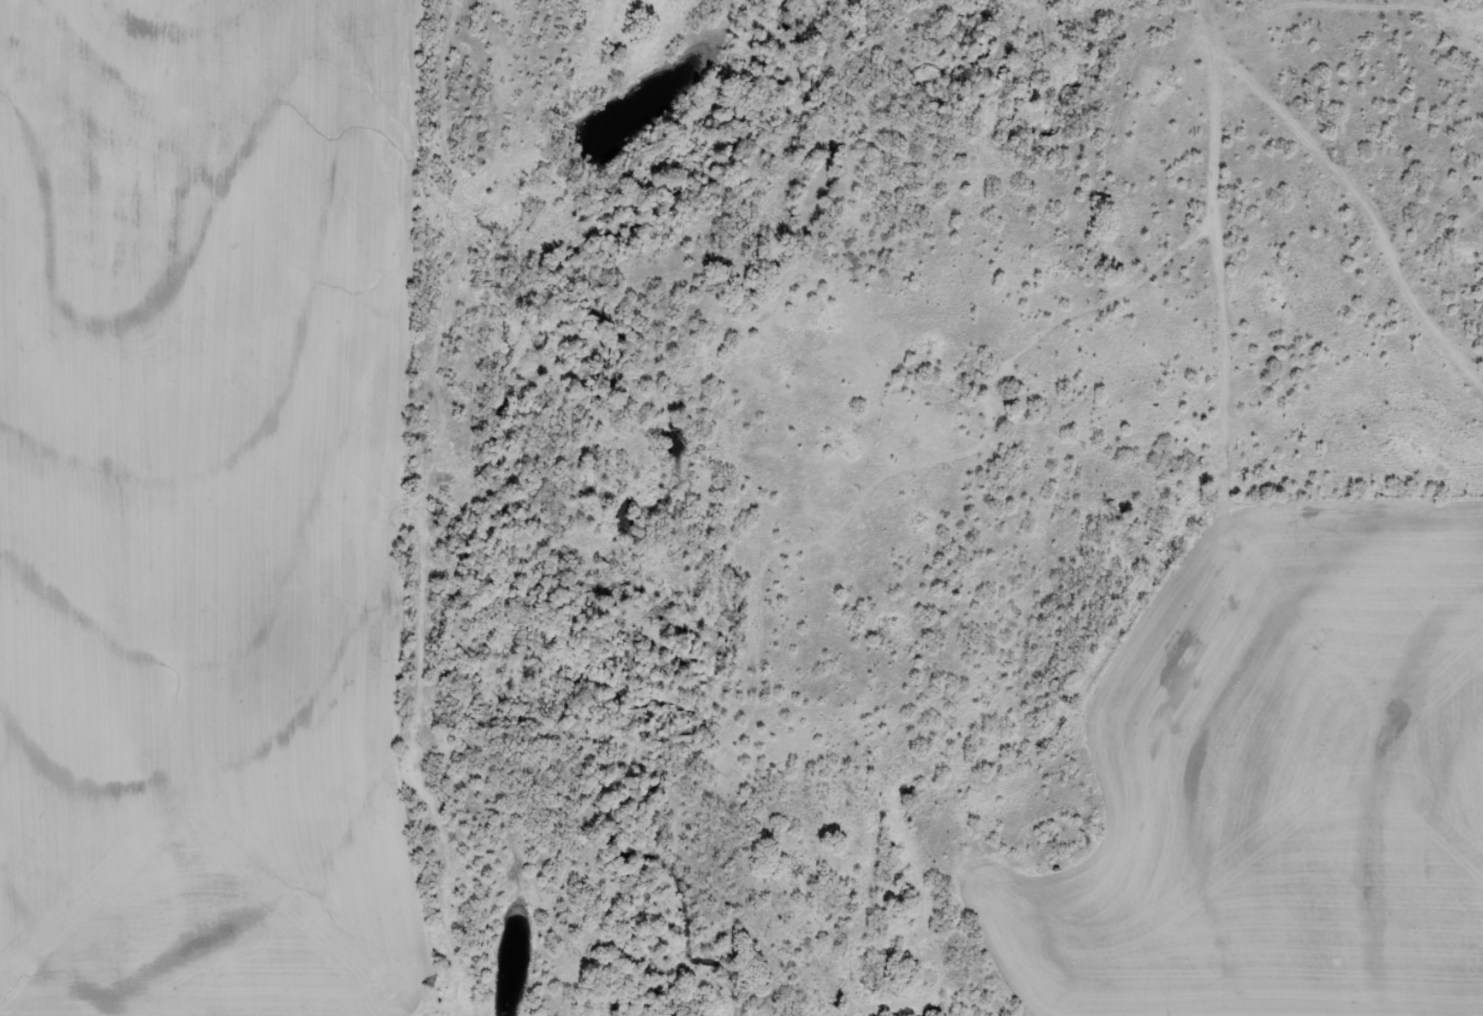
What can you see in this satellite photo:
road: (1101, 335)

